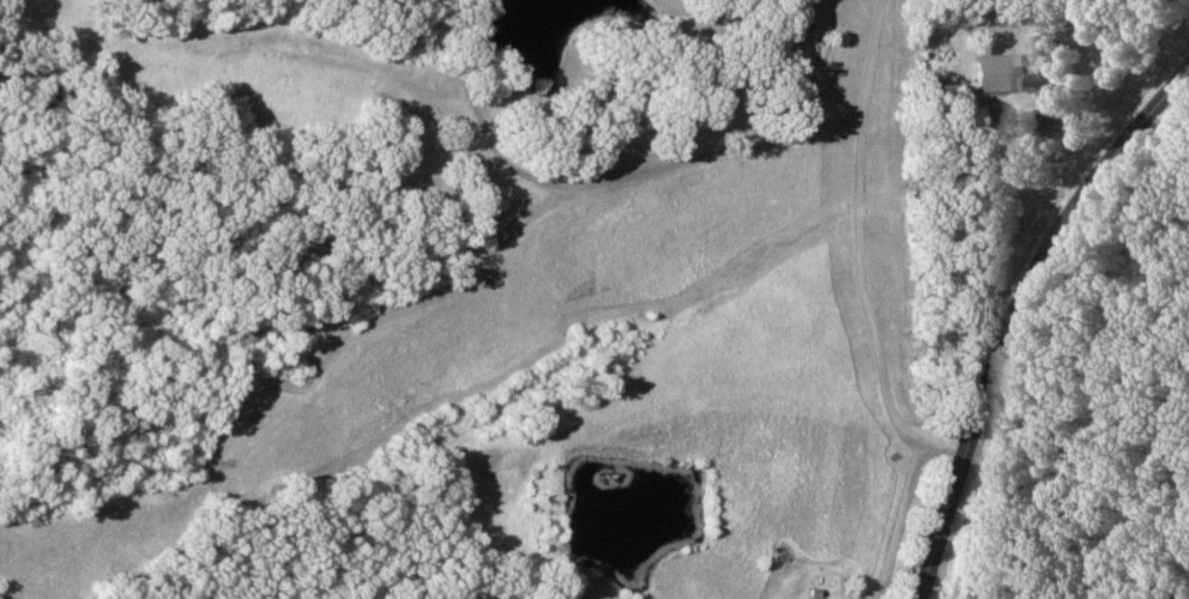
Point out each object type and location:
road: (1045, 69)
building: (988, 74)
road: (859, 229)
road: (1004, 304)
road: (897, 504)

